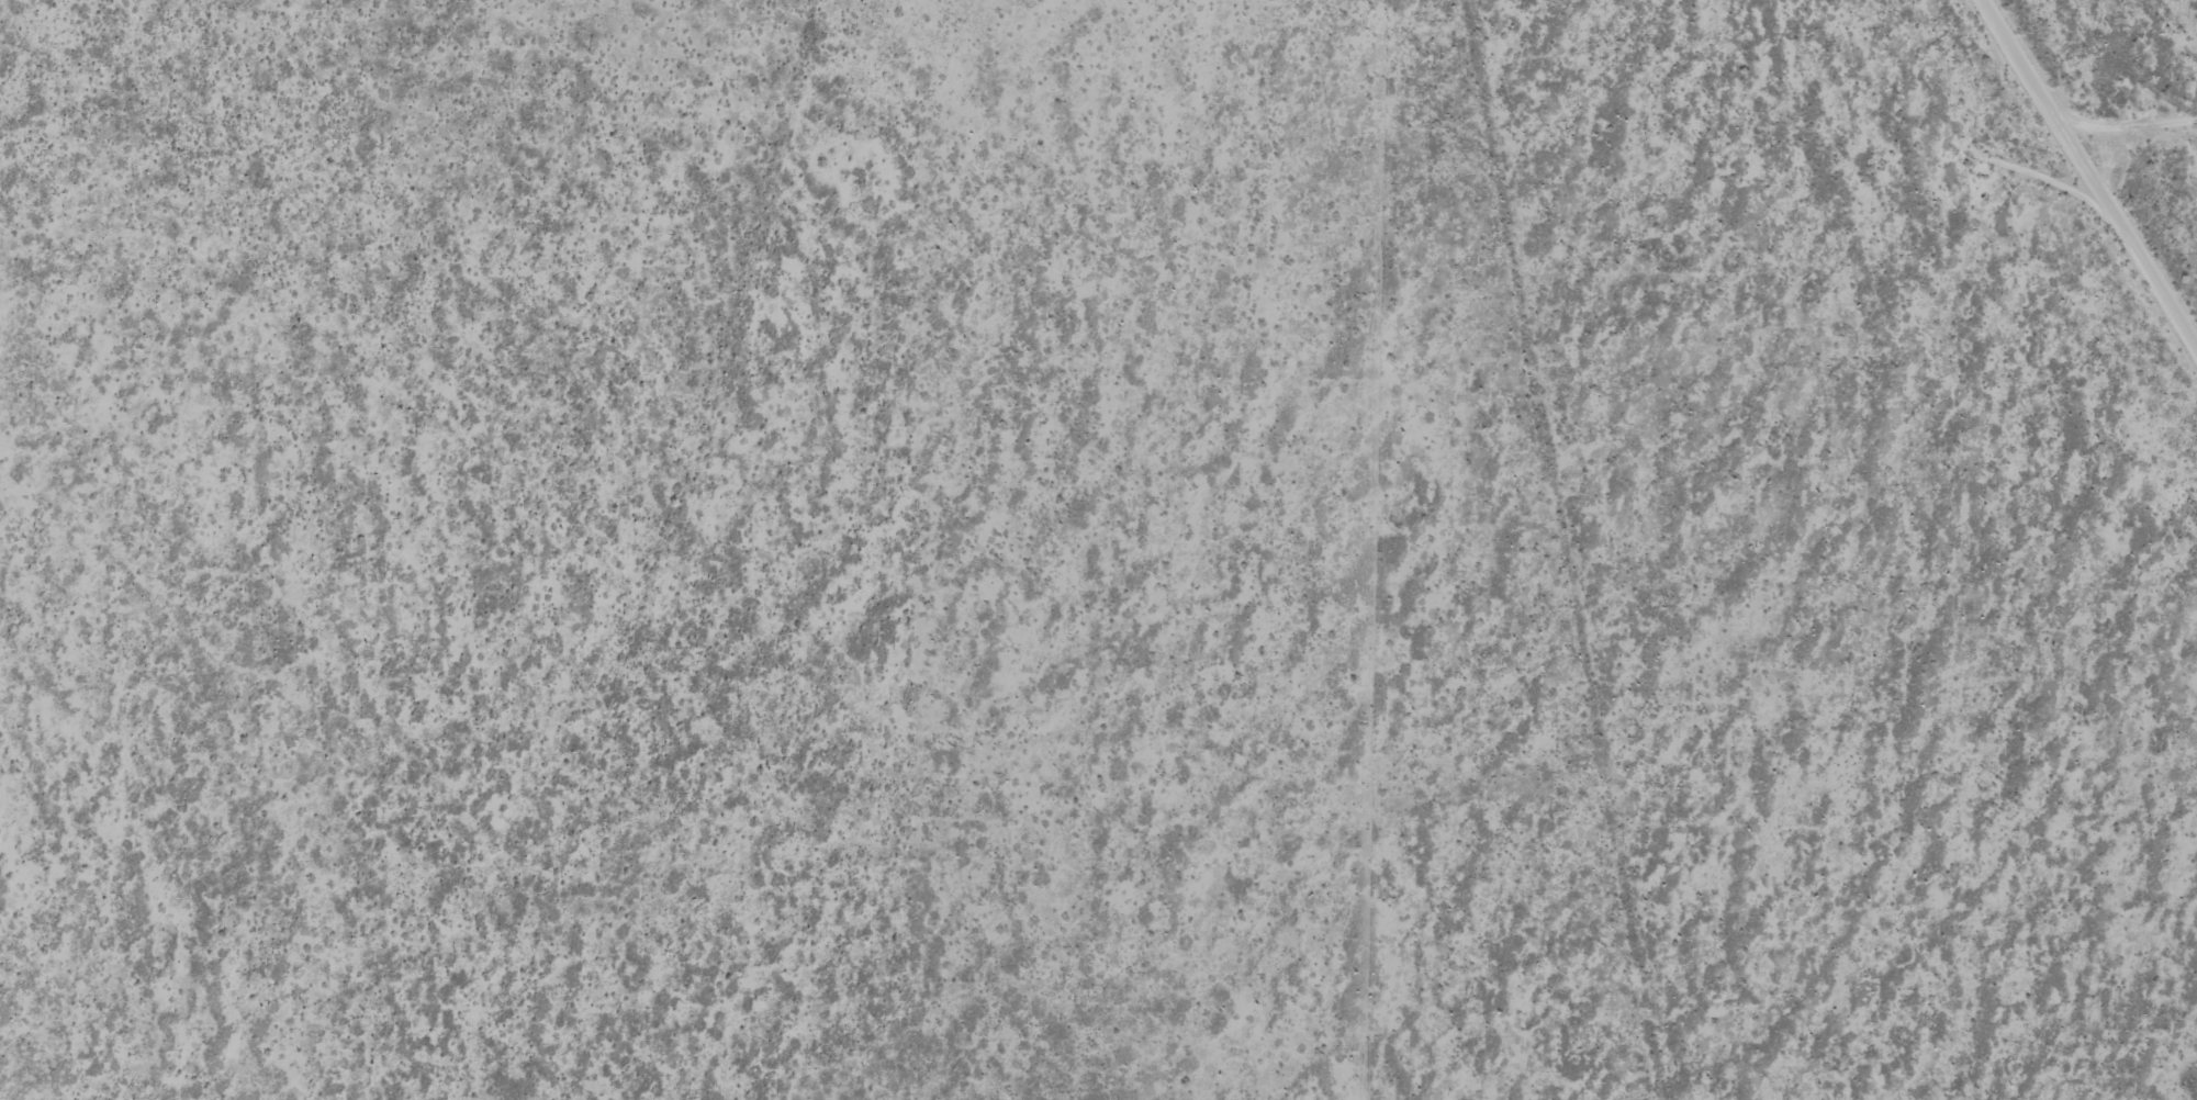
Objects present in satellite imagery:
road: (2081, 183)

